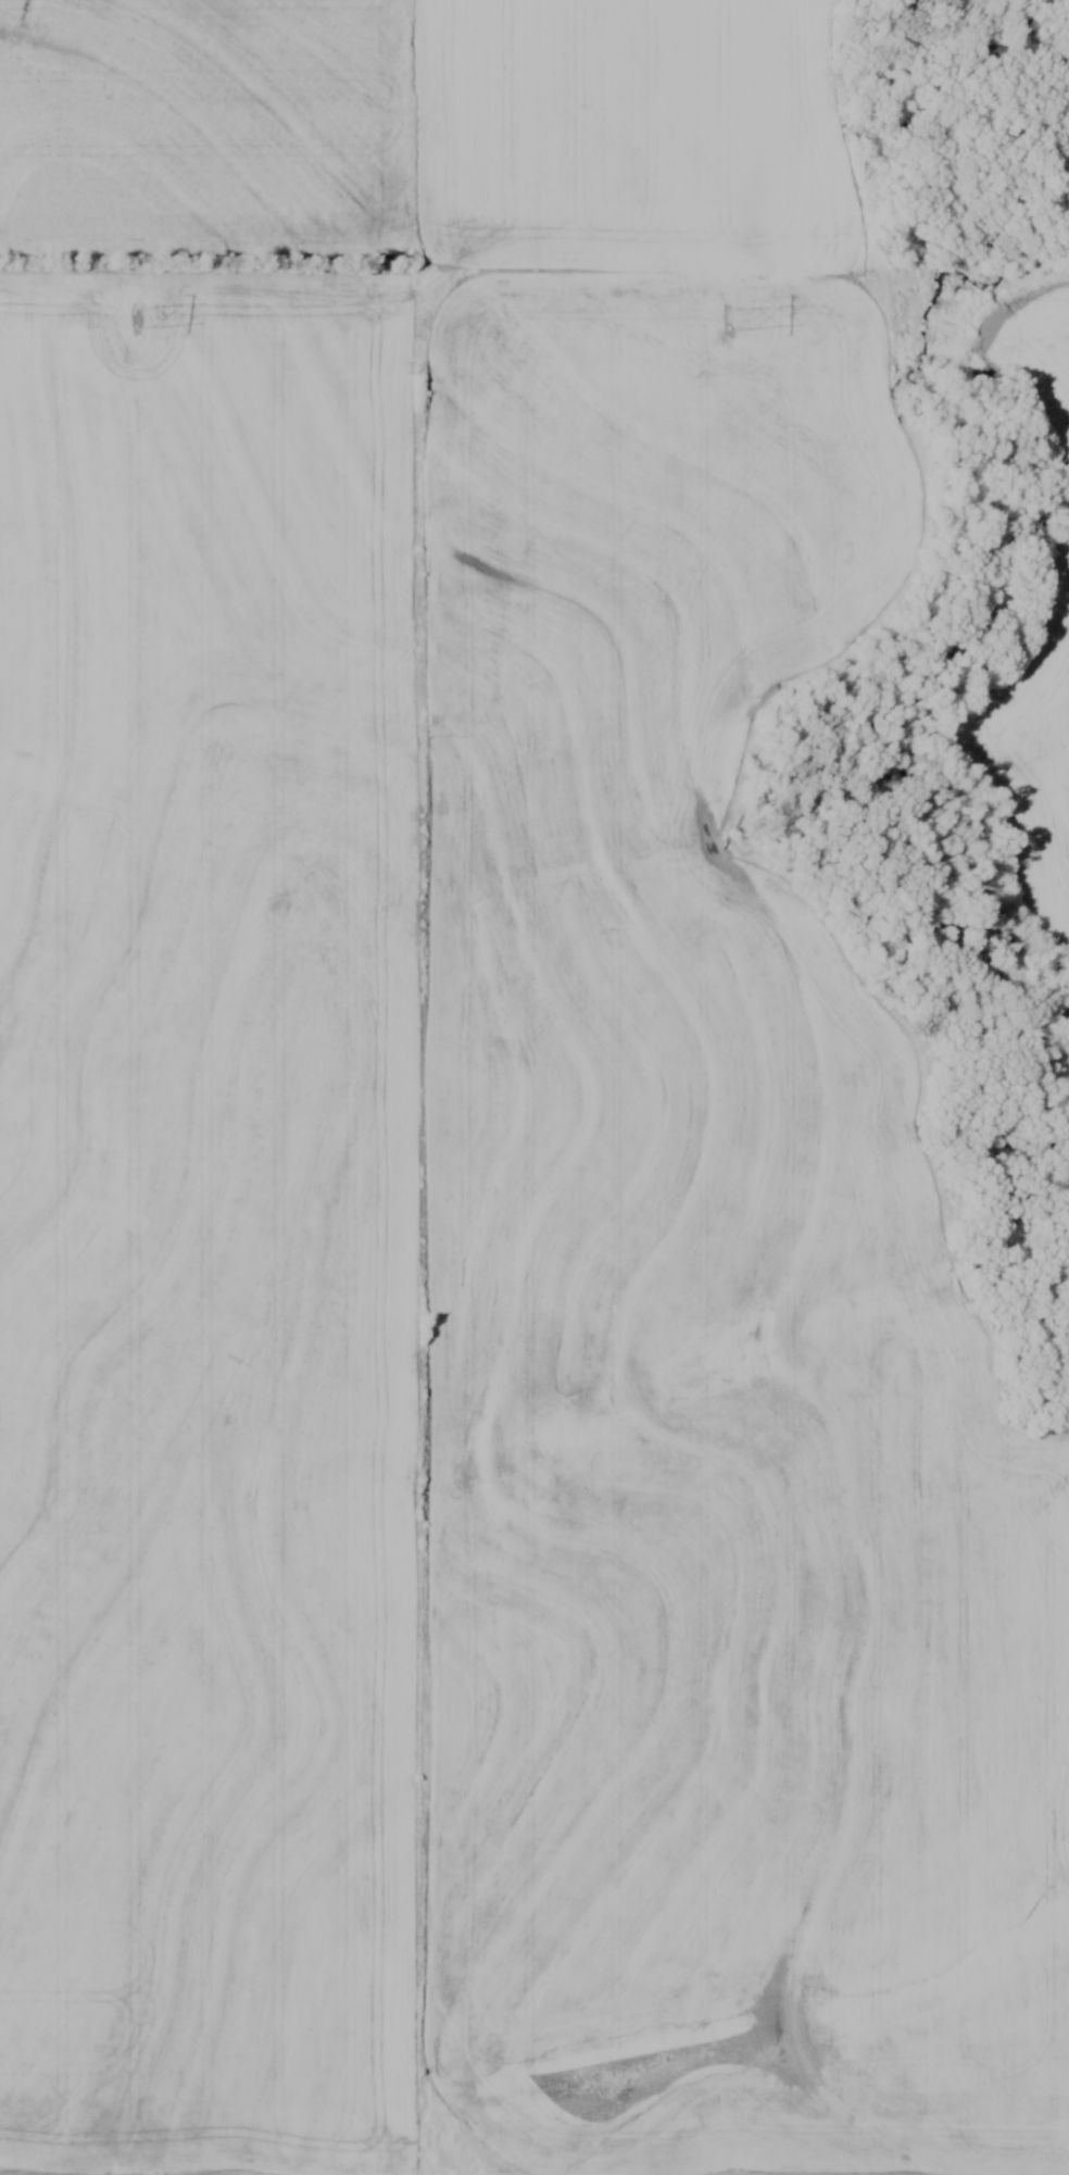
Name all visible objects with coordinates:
power tower: (139, 317)
power tower: (727, 318)

